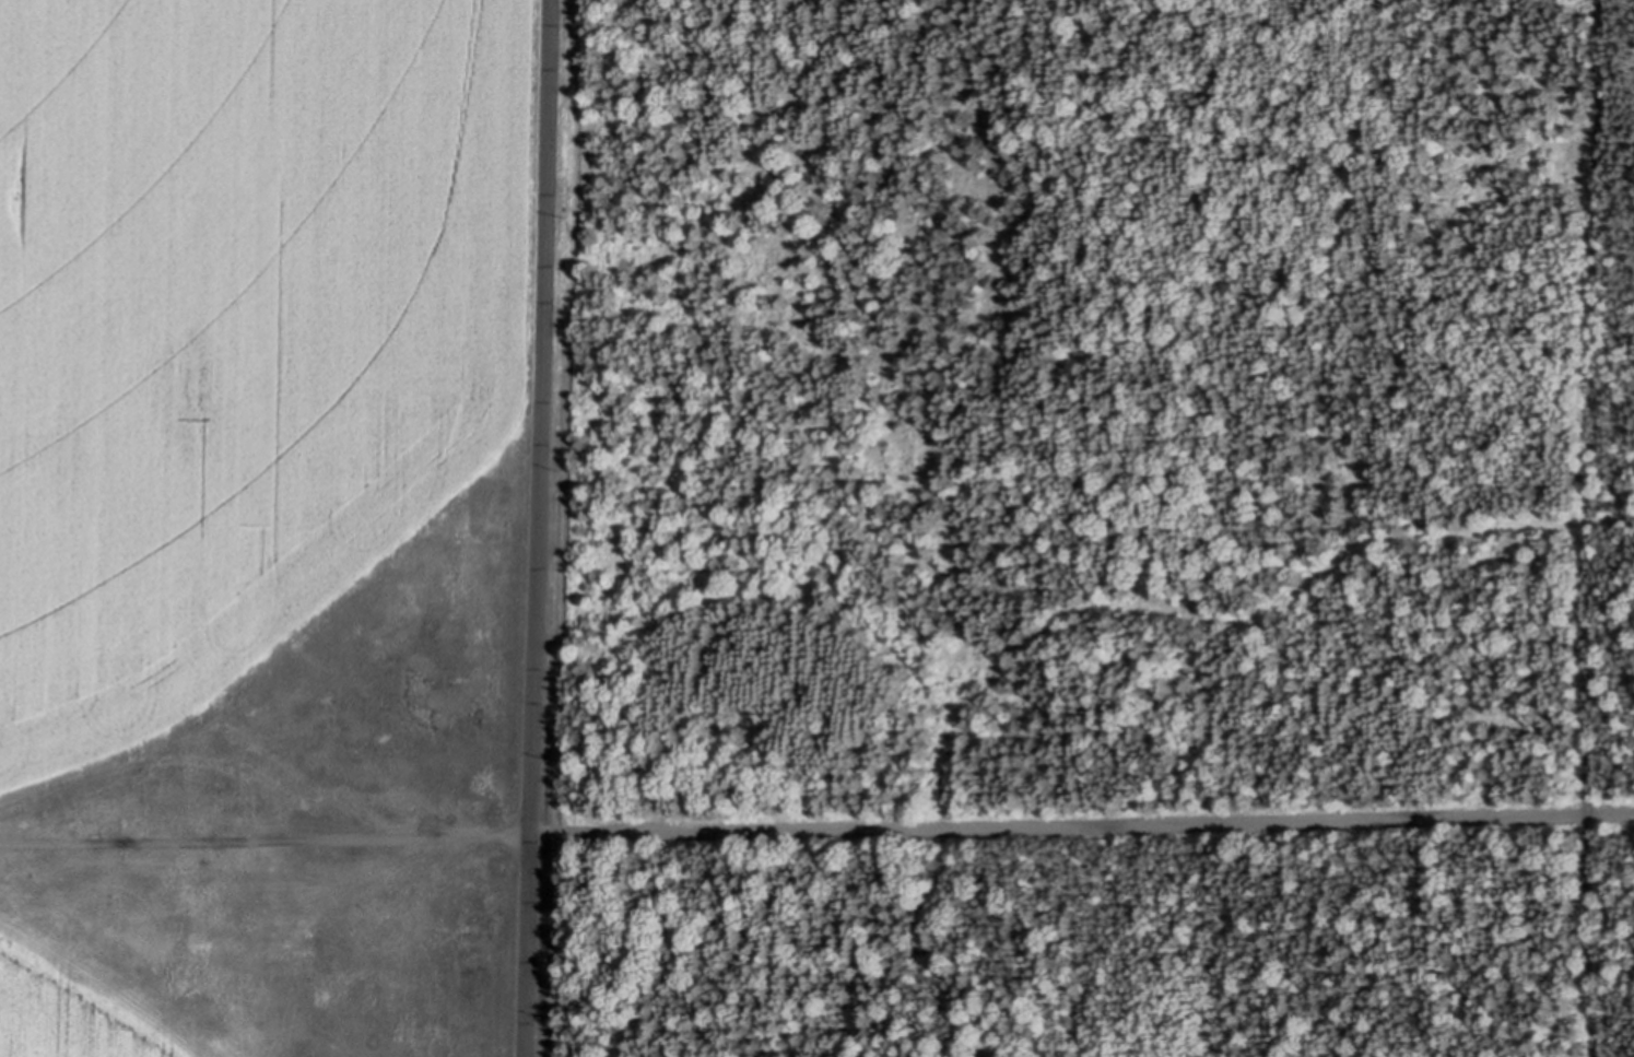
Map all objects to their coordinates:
crop: (263, 525)
road: (534, 528)
road: (566, 528)
road: (1592, 528)
road: (1081, 825)
road: (263, 837)

